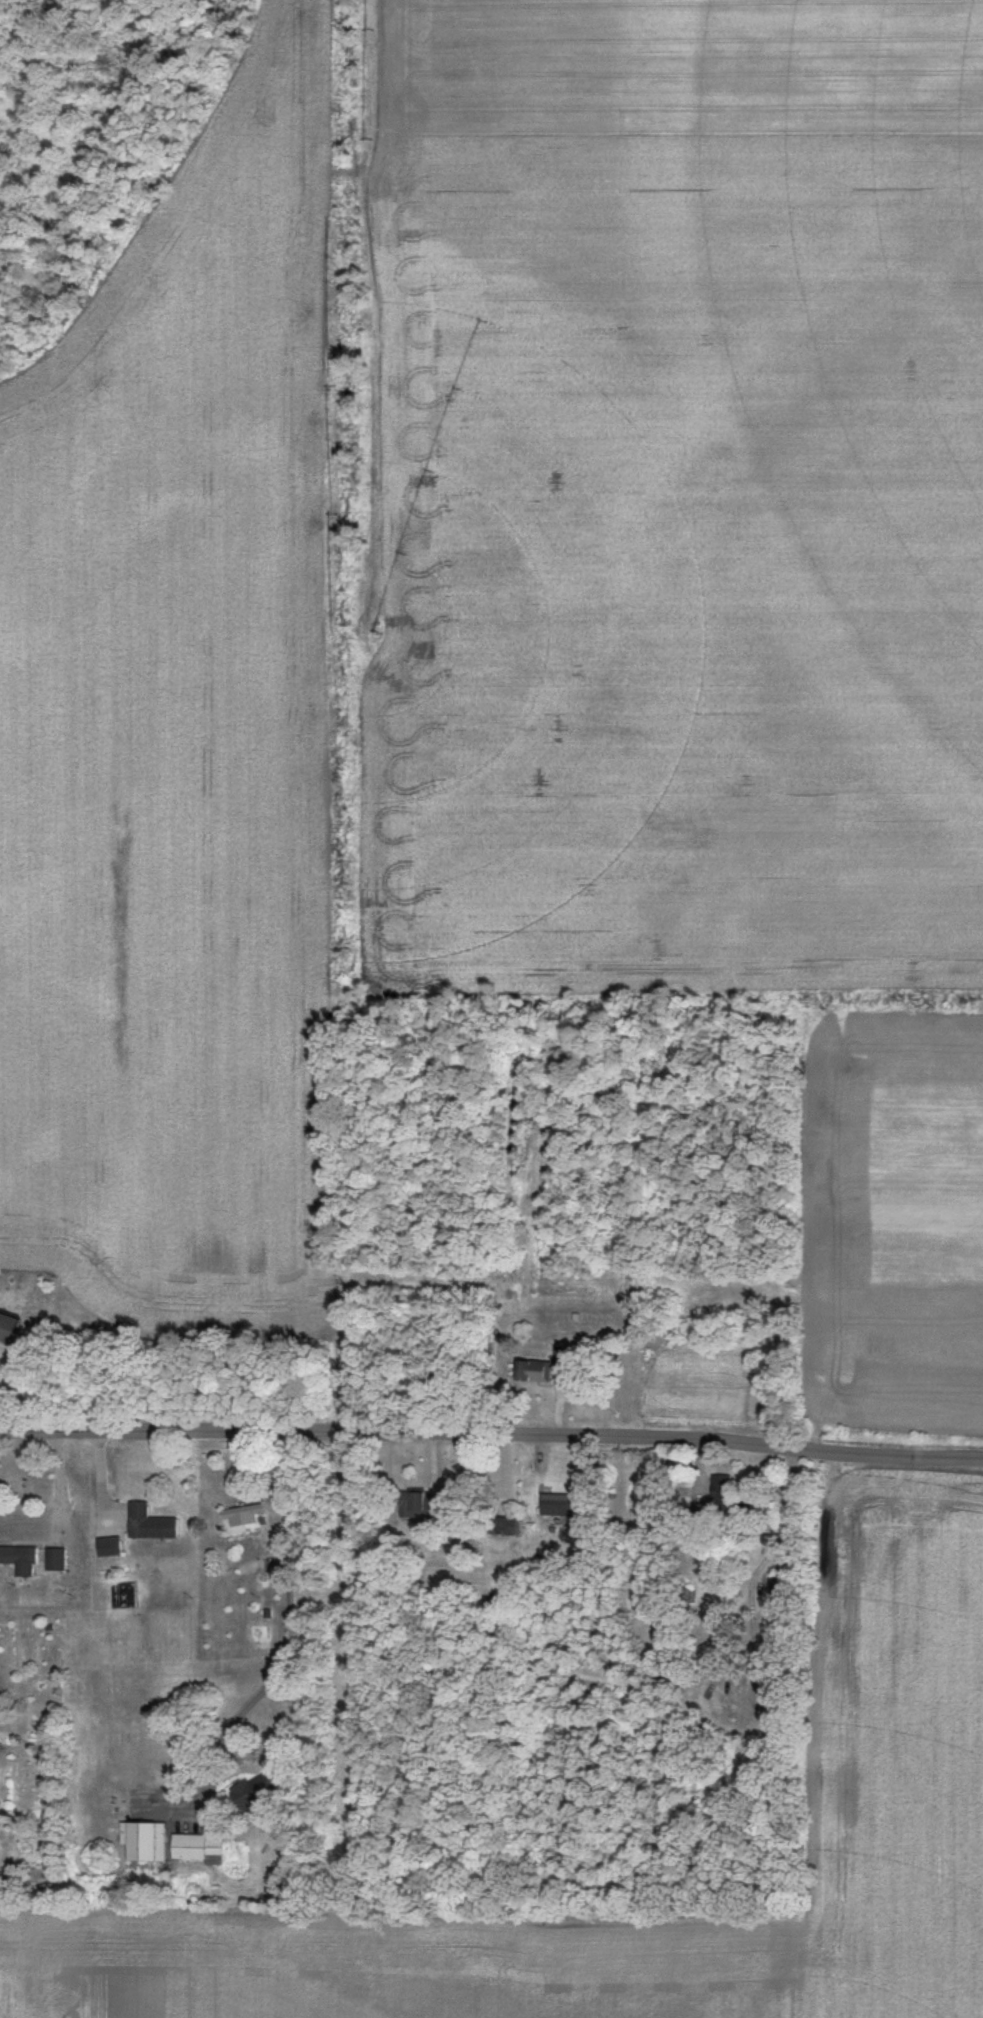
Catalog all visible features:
road: (491, 1441)
road: (285, 1630)

